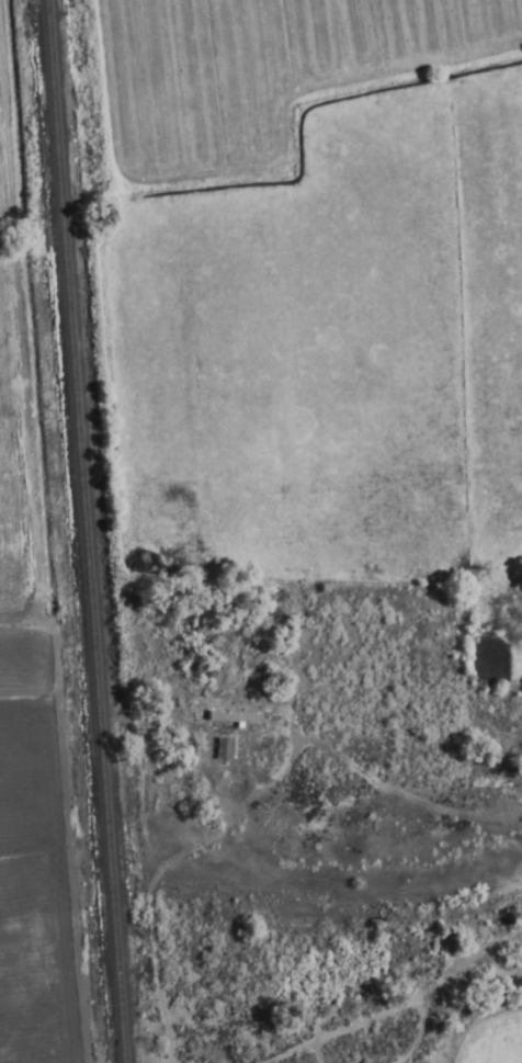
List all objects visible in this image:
road: (15, 392)
railway: (80, 531)
building: (228, 720)
building: (219, 751)
road: (252, 803)
road: (59, 823)
road: (502, 950)
road: (389, 1010)
road: (432, 1029)

